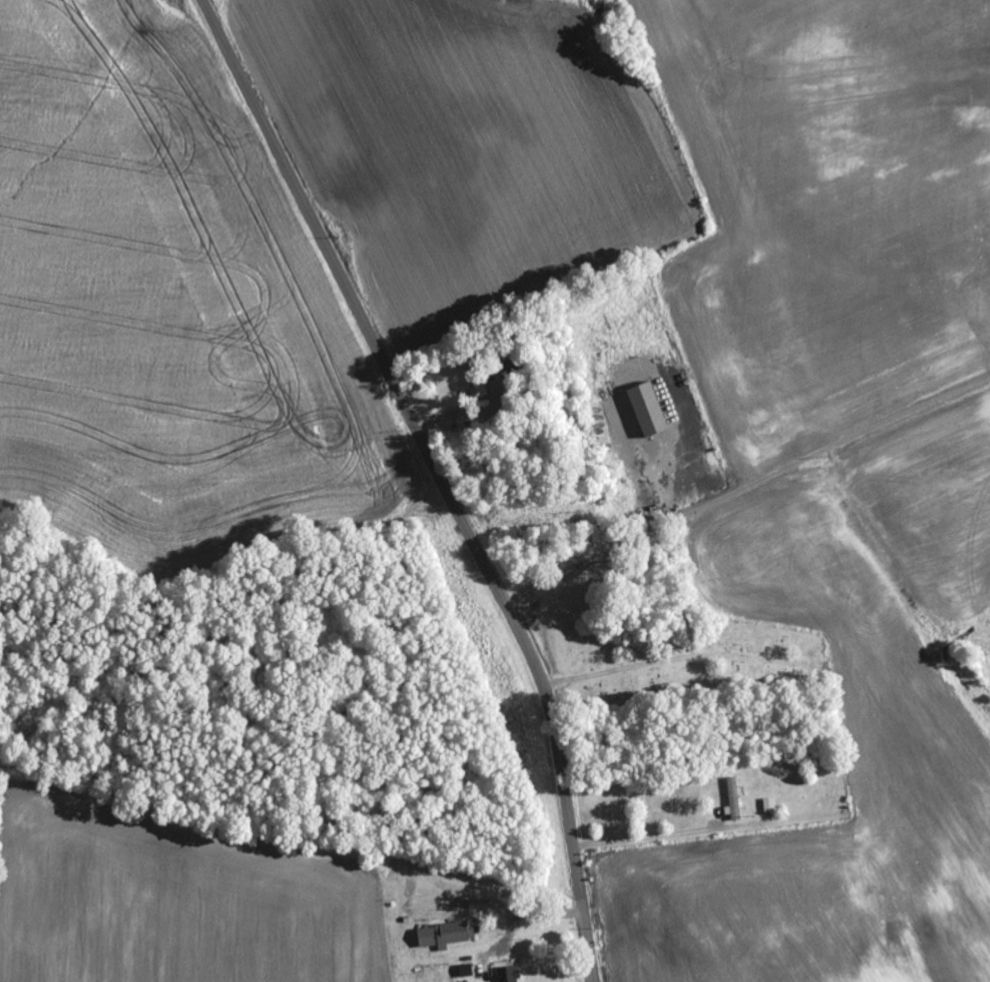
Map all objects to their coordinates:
building: (648, 410)
road: (442, 477)
building: (734, 801)
building: (770, 806)
building: (897, 935)
building: (446, 936)
building: (509, 975)

